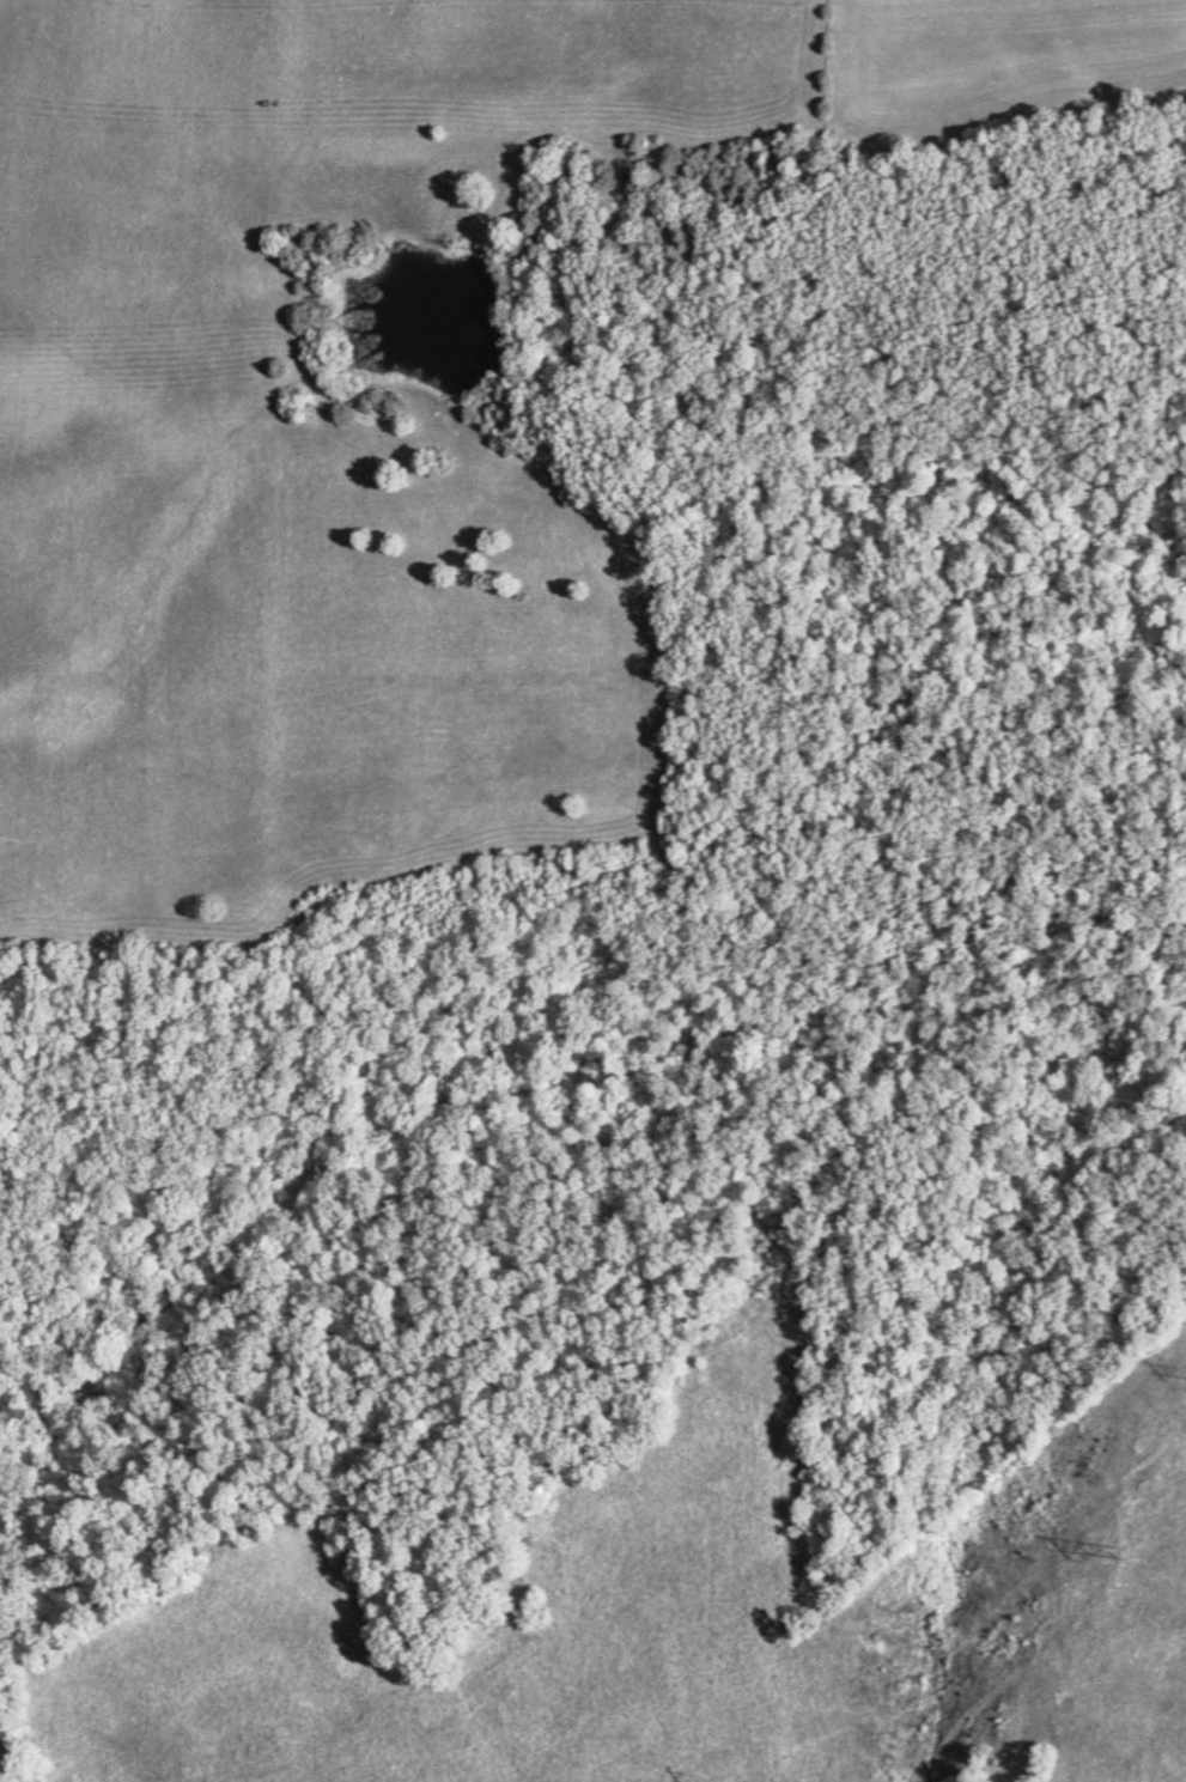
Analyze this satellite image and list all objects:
power tower: (1137, 1552)

